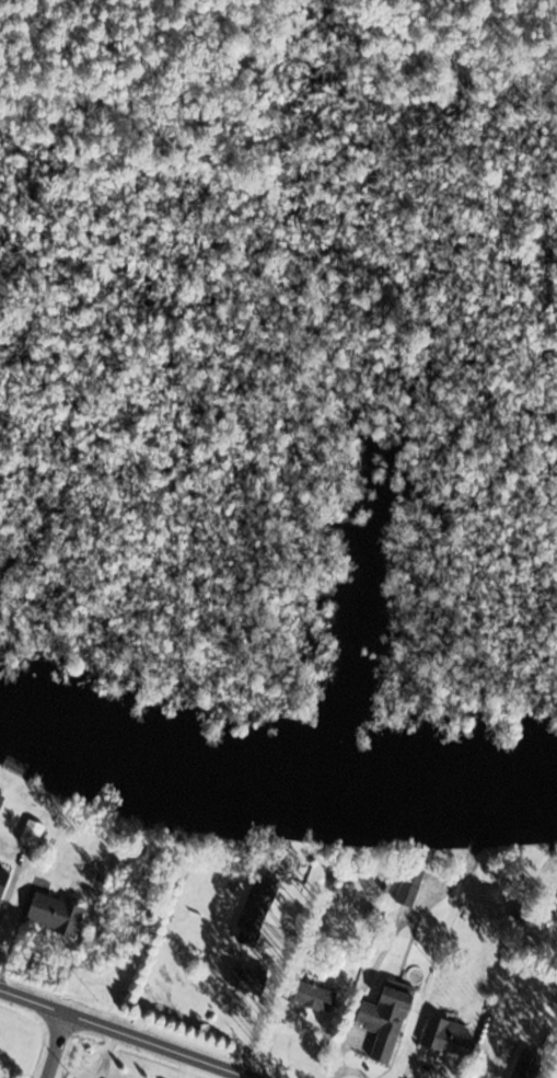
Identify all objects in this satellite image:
building: (15, 765)
building: (2, 879)
building: (410, 886)
building: (256, 913)
building: (54, 914)
building: (242, 978)
road: (362, 995)
building: (313, 996)
road: (266, 1008)
building: (384, 1018)
road: (128, 1035)
building: (446, 1036)
road: (55, 1046)
road: (352, 1069)

